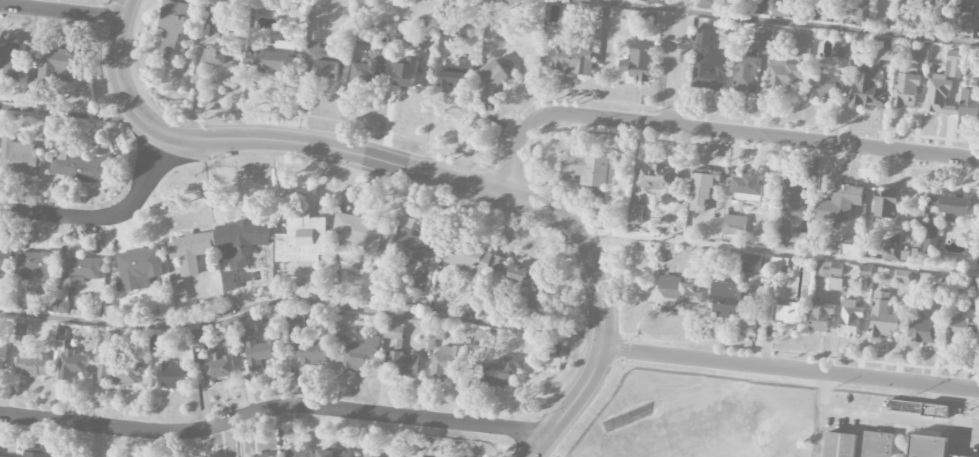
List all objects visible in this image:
building: (656, 2)
building: (921, 3)
building: (711, 5)
building: (785, 9)
road: (60, 13)
building: (822, 14)
building: (211, 15)
building: (863, 15)
building: (960, 16)
building: (648, 18)
road: (774, 22)
building: (895, 23)
building: (171, 29)
building: (363, 34)
building: (405, 37)
building: (762, 41)
building: (802, 44)
building: (842, 49)
building: (880, 50)
building: (919, 54)
building: (218, 55)
building: (274, 58)
building: (12, 61)
building: (323, 61)
building: (572, 61)
building: (638, 62)
road: (675, 62)
building: (709, 65)
building: (59, 67)
building: (369, 67)
building: (406, 73)
building: (453, 74)
building: (745, 74)
building: (782, 77)
building: (492, 78)
building: (943, 85)
building: (823, 86)
building: (867, 87)
building: (905, 91)
building: (969, 104)
road: (69, 116)
road: (714, 131)
building: (20, 157)
building: (81, 168)
building: (588, 169)
road: (423, 173)
building: (657, 177)
building: (747, 188)
building: (700, 192)
building: (792, 198)
building: (933, 201)
building: (839, 204)
building: (886, 204)
building: (954, 208)
building: (635, 215)
road: (106, 216)
building: (734, 226)
building: (358, 231)
building: (781, 238)
building: (930, 239)
building: (301, 240)
building: (240, 241)
building: (411, 248)
building: (849, 250)
building: (191, 251)
road: (778, 252)
building: (891, 255)
building: (469, 261)
building: (750, 263)
building: (36, 264)
building: (2, 265)
building: (978, 266)
building: (139, 268)
building: (81, 269)
building: (832, 273)
building: (902, 277)
building: (228, 281)
building: (520, 281)
building: (835, 284)
building: (179, 290)
building: (62, 295)
building: (677, 295)
building: (728, 300)
road: (301, 302)
building: (61, 307)
building: (786, 314)
building: (821, 316)
building: (882, 316)
building: (850, 318)
building: (294, 322)
building: (21, 329)
building: (921, 330)
building: (962, 330)
building: (477, 337)
building: (197, 339)
building: (60, 340)
building: (157, 344)
building: (257, 350)
building: (310, 353)
building: (357, 353)
building: (2, 358)
building: (446, 362)
building: (402, 363)
building: (32, 365)
building: (72, 366)
building: (219, 368)
road: (790, 369)
building: (501, 371)
building: (117, 375)
building: (171, 376)
road: (273, 407)
building: (935, 411)
road: (883, 416)
park: (691, 436)
building: (876, 444)
building: (839, 445)
building: (927, 446)
building: (298, 452)
building: (35, 453)
building: (333, 454)
building: (370, 455)
building: (258, 456)
building: (952, 456)

